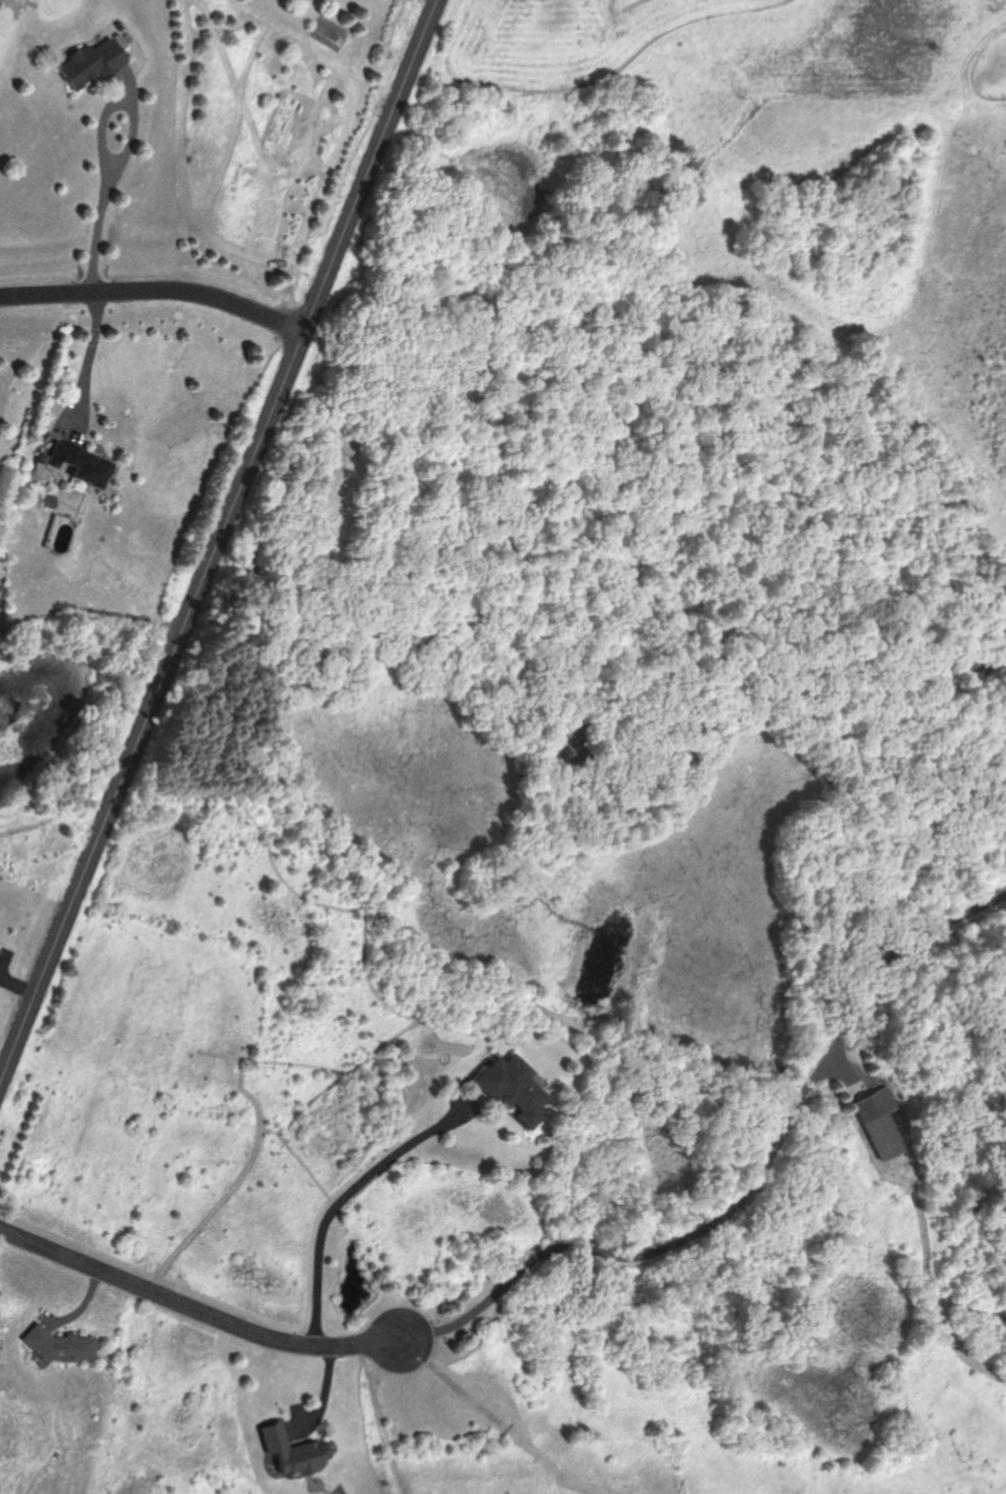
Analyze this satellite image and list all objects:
building: (96, 61)
road: (105, 194)
road: (158, 291)
road: (90, 354)
building: (83, 462)
road: (223, 543)
building: (517, 1088)
building: (888, 1135)
park: (515, 1155)
road: (747, 1184)
road: (191, 1301)
building: (65, 1346)
building: (294, 1450)

